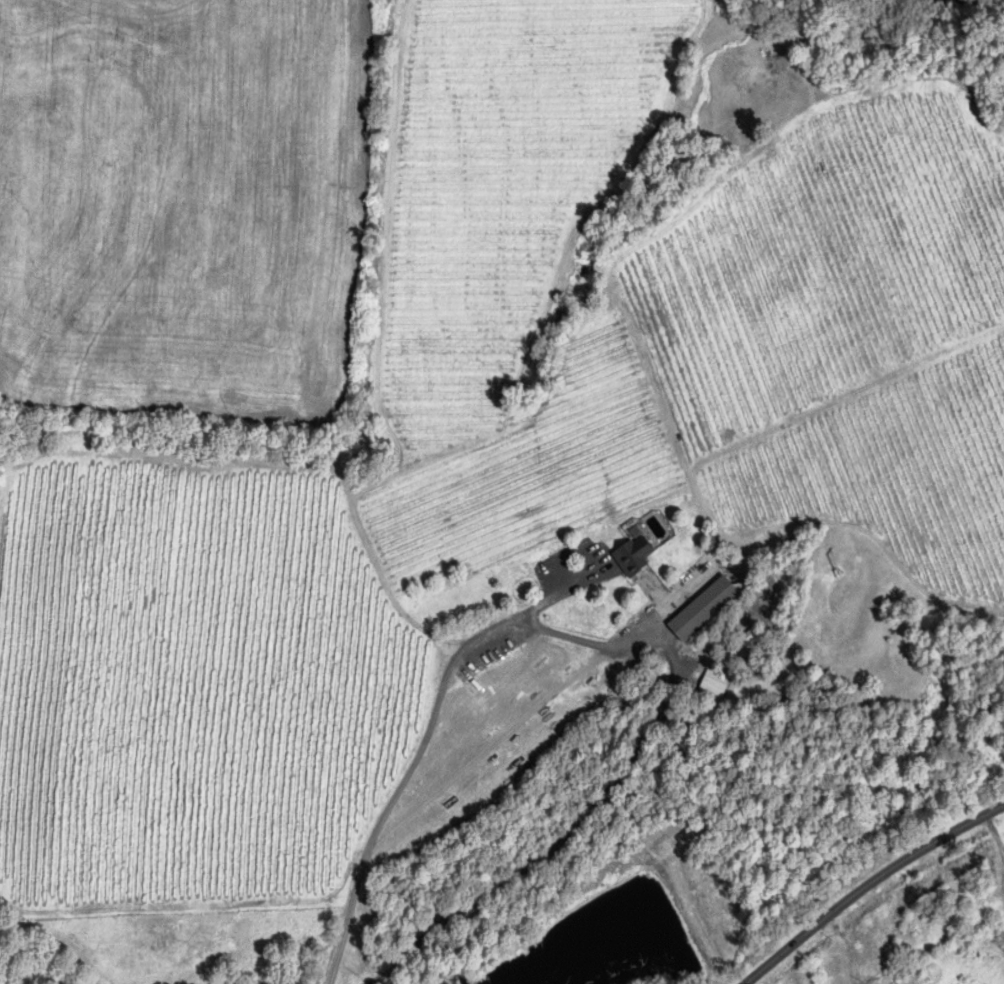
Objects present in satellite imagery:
building: (632, 555)
road: (563, 590)
building: (702, 609)
road: (623, 643)
building: (712, 687)
road: (998, 842)
road: (867, 883)

